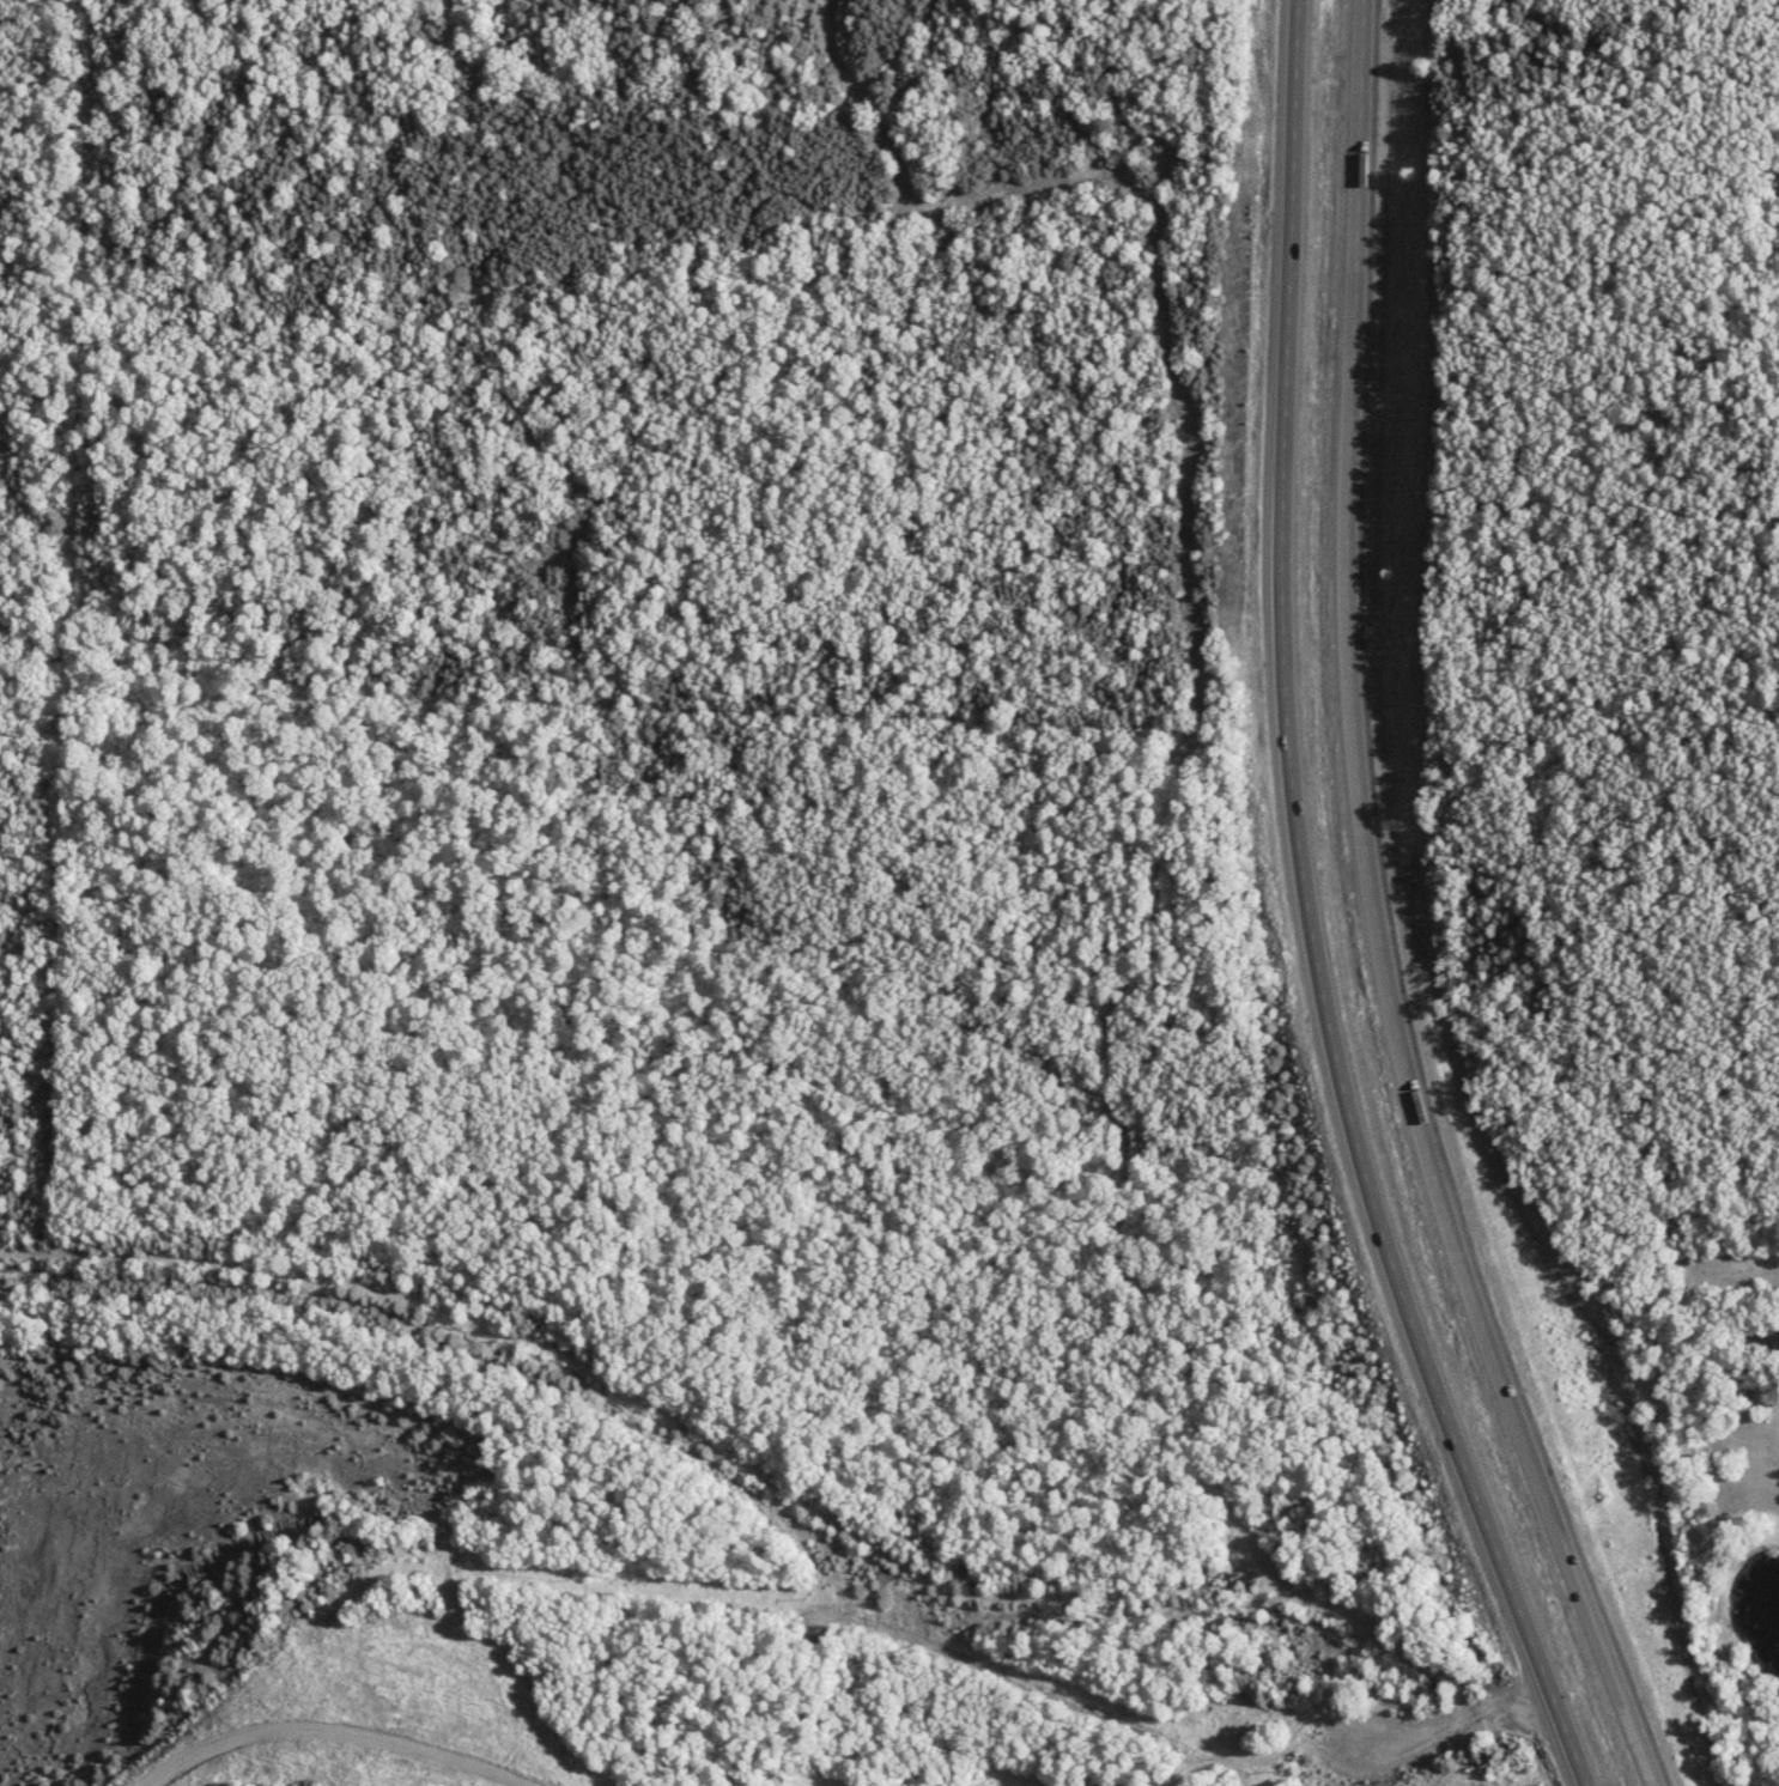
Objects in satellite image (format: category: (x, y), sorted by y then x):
road: (1307, 913)
road: (1379, 916)

